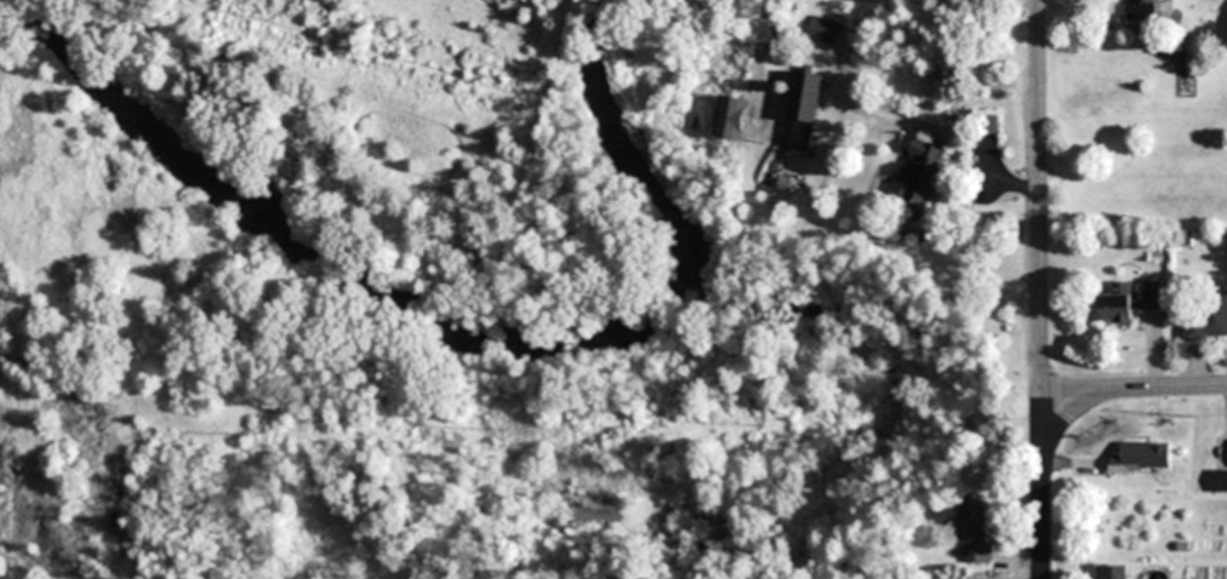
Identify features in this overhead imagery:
building: (1138, 8)
building: (826, 30)
building: (805, 109)
building: (731, 117)
building: (915, 182)
road: (1038, 289)
building: (1129, 302)
building: (1209, 321)
river: (436, 328)
road: (1131, 392)
building: (1142, 457)
building: (1219, 481)
building: (975, 529)
building: (1113, 572)

